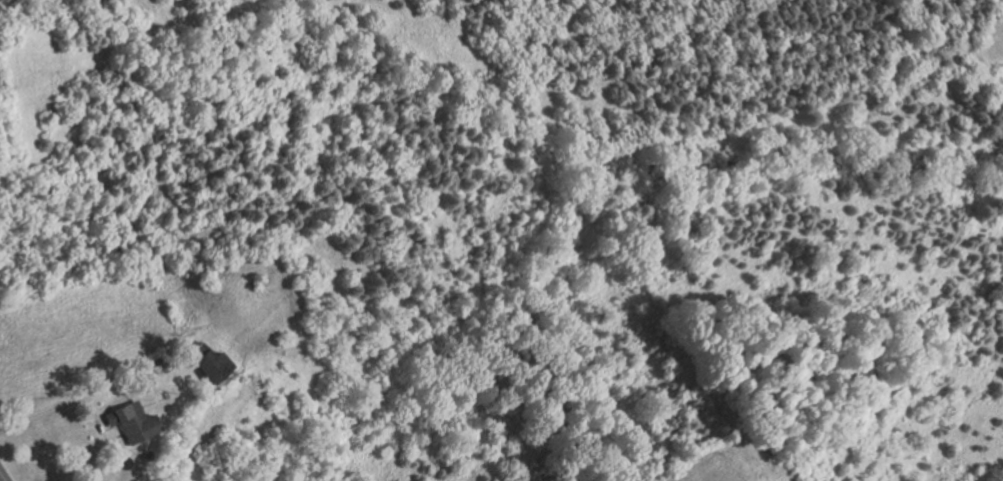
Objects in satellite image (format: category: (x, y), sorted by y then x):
building: (205, 362)
building: (157, 364)
road: (86, 397)
road: (92, 412)
building: (129, 421)
building: (146, 456)
road: (3, 475)

